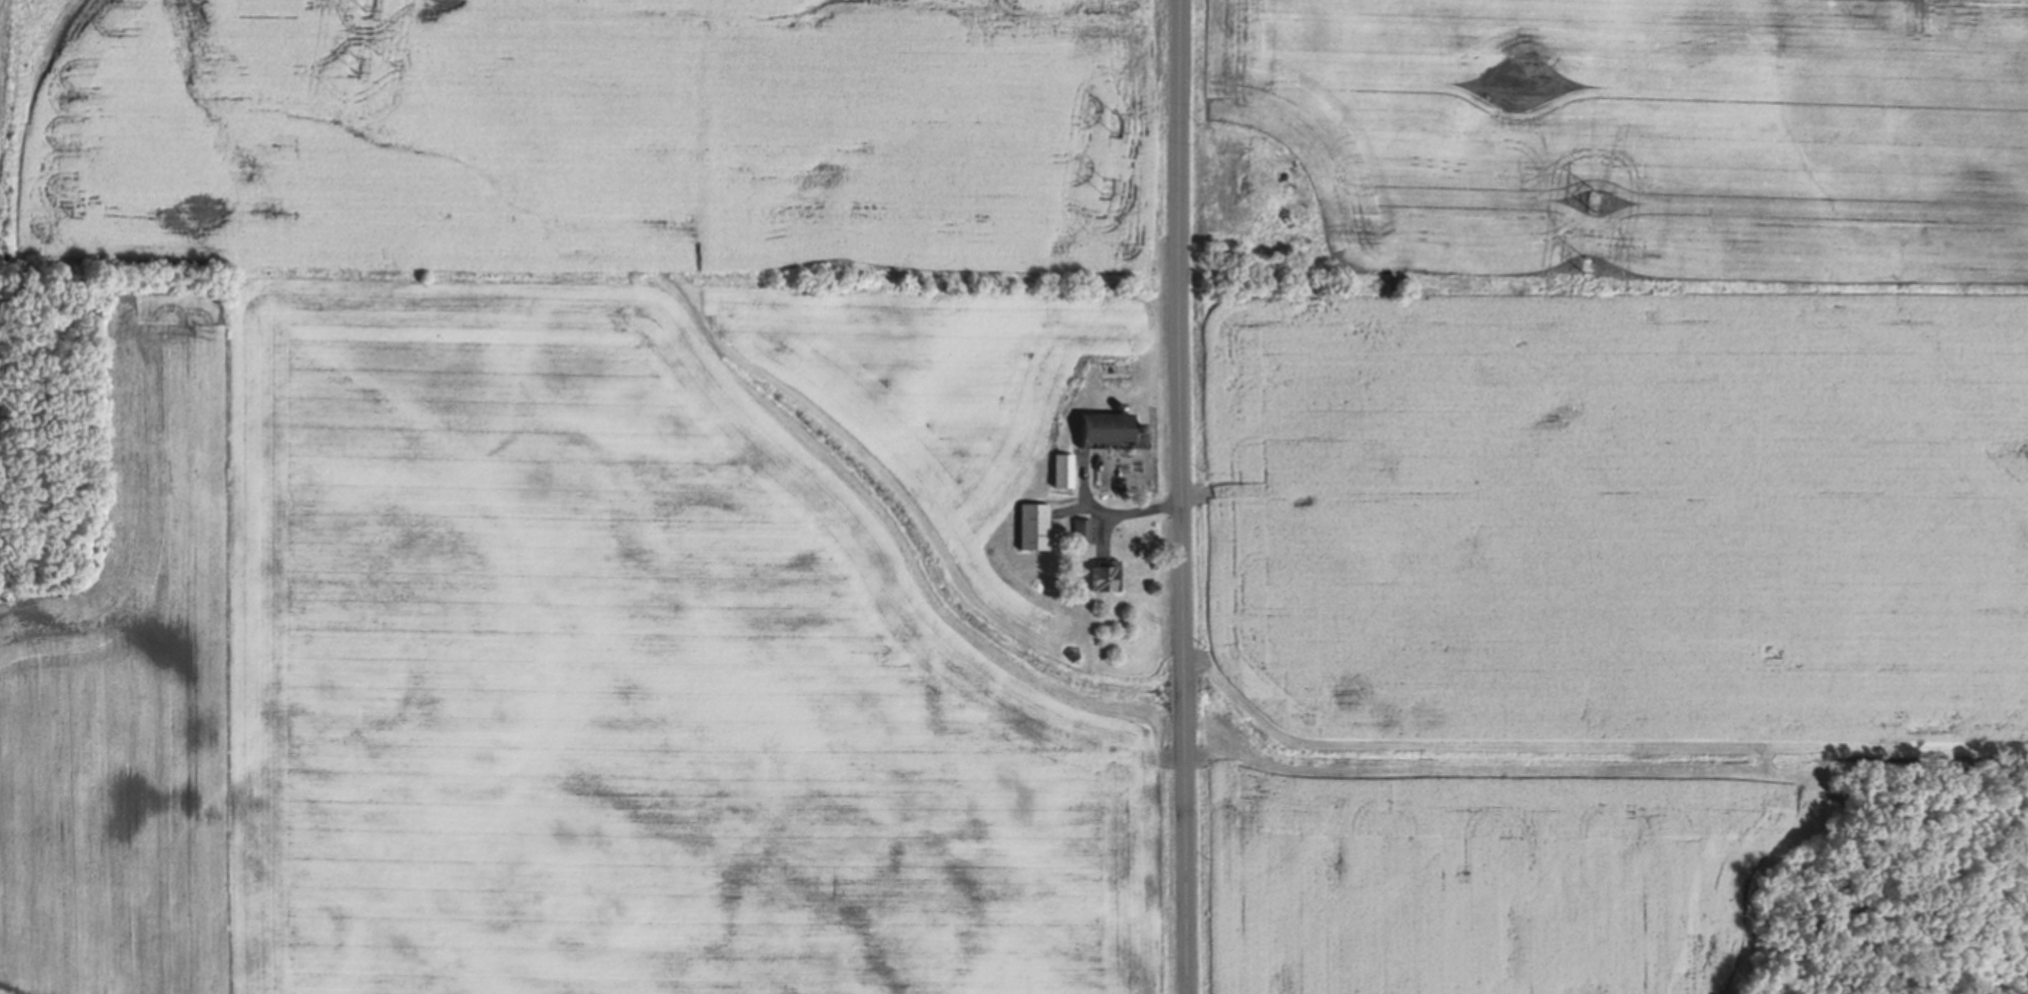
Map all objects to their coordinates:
power tower: (367, 1)
power tower: (355, 64)
power tower: (1110, 122)
power tower: (1103, 185)
power tower: (1593, 200)
power tower: (1584, 263)
building: (1114, 368)
building: (1119, 406)
building: (1111, 433)
building: (1061, 472)
road: (1183, 497)
building: (1032, 528)
building: (1081, 532)
building: (1105, 578)

